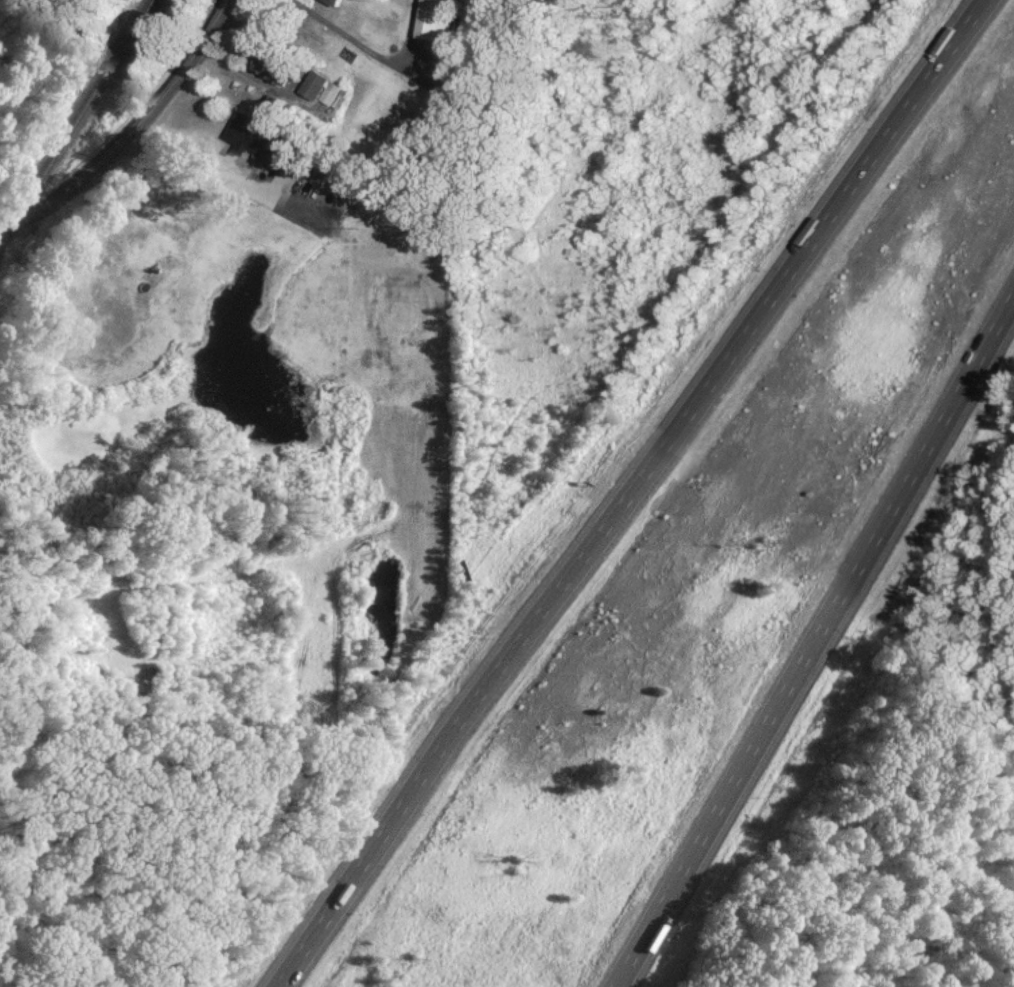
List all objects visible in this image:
building: (330, 2)
building: (430, 19)
building: (267, 68)
road: (294, 78)
building: (317, 88)
railway: (81, 126)
road: (134, 133)
building: (252, 137)
road: (188, 176)
road: (626, 487)
road: (815, 640)

